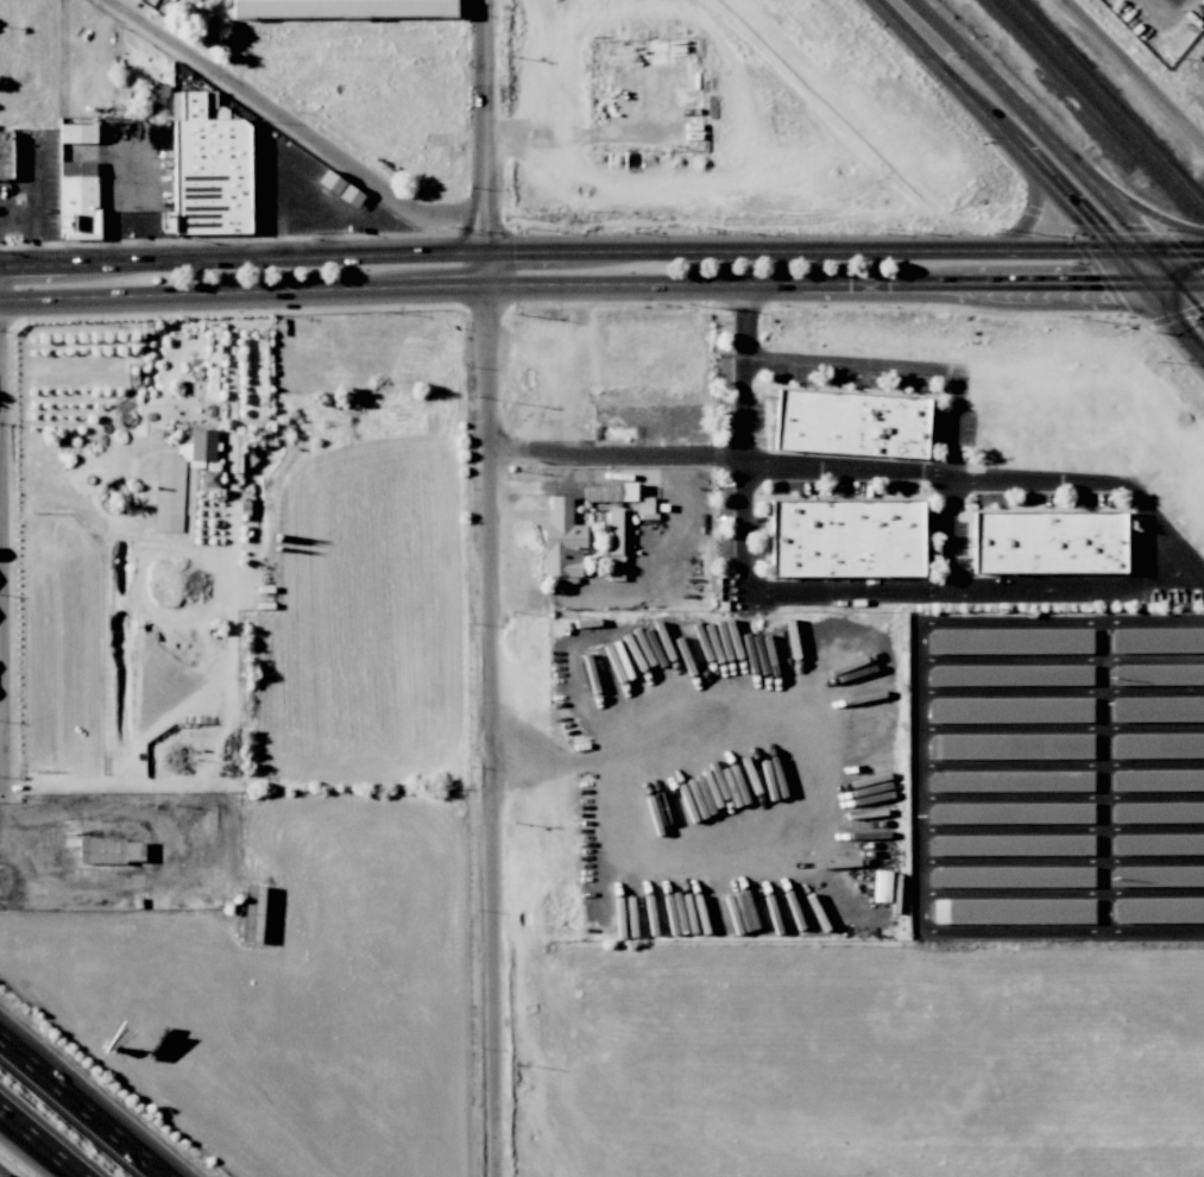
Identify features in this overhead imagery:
building: (341, 7)
road: (908, 17)
road: (1133, 70)
building: (156, 95)
railway: (1107, 102)
railway: (1098, 111)
road: (294, 124)
building: (77, 133)
building: (5, 156)
road: (1071, 159)
building: (207, 169)
building: (340, 189)
railway: (1013, 190)
road: (1061, 195)
building: (77, 200)
road: (33, 203)
road: (17, 218)
road: (1034, 221)
road: (1154, 221)
traffic signals: (1158, 251)
road: (1159, 251)
road: (556, 252)
traffic signals: (1115, 252)
road: (573, 284)
road: (1175, 284)
traffic signals: (1189, 284)
traffic signals: (1147, 287)
road: (813, 361)
building: (850, 423)
building: (202, 445)
road: (870, 467)
building: (209, 479)
road: (947, 479)
building: (169, 492)
building: (610, 492)
building: (644, 508)
building: (613, 531)
building: (845, 537)
building: (562, 541)
building: (1048, 542)
road: (490, 587)
road: (861, 588)
road: (231, 617)
building: (1156, 640)
building: (1009, 641)
building: (1158, 674)
building: (1008, 675)
building: (1009, 710)
building: (1158, 710)
building: (1158, 745)
building: (1009, 747)
building: (1158, 780)
building: (1009, 781)
road: (0, 788)
building: (1158, 812)
building: (1009, 813)
building: (1158, 844)
building: (1009, 845)
building: (111, 851)
road: (165, 873)
building: (1010, 876)
building: (1158, 876)
building: (881, 886)
building: (1158, 909)
building: (1013, 911)
road: (82, 1107)
road: (40, 1141)

